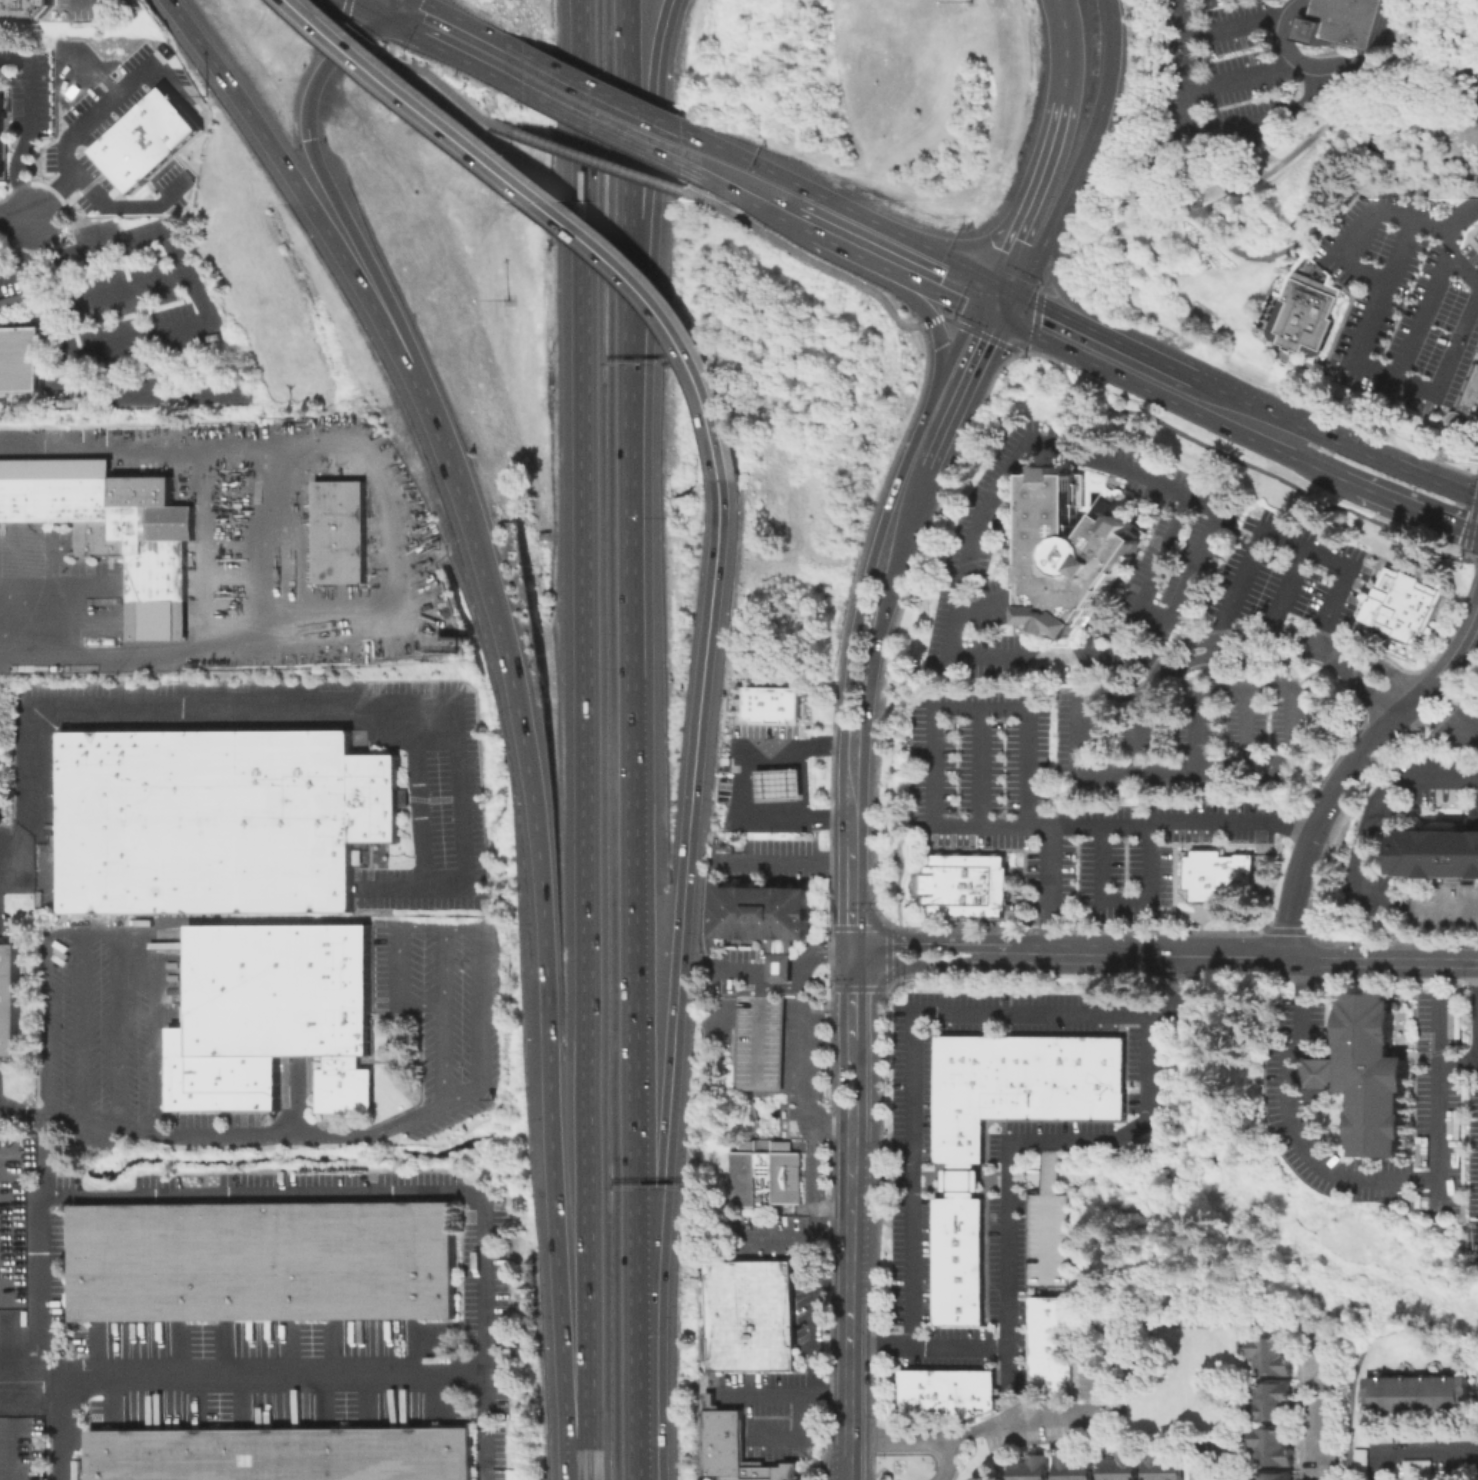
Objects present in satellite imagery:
road: (383, 1)
road: (385, 1)
traffic signals: (384, 3)
road: (96, 4)
road: (363, 7)
building: (27, 9)
road: (1476, 9)
road: (343, 11)
building: (1354, 22)
road: (365, 23)
road: (1240, 24)
road: (341, 33)
road: (444, 33)
road: (1066, 49)
road: (357, 50)
road: (1464, 56)
road: (128, 66)
road: (1245, 75)
road: (435, 81)
road: (1190, 86)
road: (1461, 93)
road: (1470, 95)
road: (590, 104)
road: (1305, 104)
road: (1323, 108)
road: (1470, 116)
road: (1098, 123)
road: (31, 125)
building: (2, 135)
building: (149, 142)
road: (687, 149)
road: (1292, 153)
road: (588, 157)
road: (628, 181)
road: (652, 181)
road: (748, 181)
road: (102, 187)
road: (49, 197)
road: (306, 197)
road: (1032, 201)
road: (550, 210)
road: (807, 212)
road: (1333, 216)
road: (15, 217)
road: (348, 223)
road: (849, 233)
road: (1358, 241)
road: (803, 256)
road: (24, 268)
road: (1464, 272)
road: (1027, 273)
road: (939, 275)
road: (904, 286)
road: (1436, 287)
road: (123, 292)
road: (1386, 293)
road: (200, 297)
building: (12, 299)
parking lot: (1403, 300)
road: (1073, 301)
traffic signals: (998, 302)
building: (1306, 312)
road: (990, 319)
road: (1058, 328)
road: (969, 329)
building: (21, 362)
road: (942, 362)
road: (1451, 363)
road: (967, 370)
road: (1152, 372)
building: (1472, 381)
road: (80, 382)
road: (1230, 410)
building: (1466, 410)
road: (936, 436)
road: (448, 455)
road: (1377, 456)
road: (1304, 459)
road: (1239, 460)
road: (997, 486)
road: (1477, 495)
road: (1405, 502)
road: (906, 508)
road: (629, 523)
road: (1470, 528)
road: (1474, 528)
building: (113, 530)
building: (340, 533)
road: (276, 539)
road: (1291, 540)
road: (396, 549)
road: (209, 551)
building: (1070, 554)
parking lot: (1177, 557)
road: (1196, 562)
road: (1377, 572)
parking lot: (1285, 576)
road: (1369, 589)
road: (1289, 593)
road: (51, 599)
building: (1399, 606)
road: (982, 610)
road: (1238, 638)
road: (1334, 647)
road: (850, 657)
road: (872, 662)
road: (1221, 664)
road: (1384, 671)
road: (1365, 689)
road: (1229, 691)
building: (772, 703)
road: (1457, 706)
road: (320, 709)
road: (1250, 723)
road: (1390, 726)
road: (1441, 728)
parking lot: (1192, 730)
building: (2, 737)
road: (584, 740)
road: (1083, 745)
road: (984, 766)
road: (745, 784)
building: (777, 784)
gas station: (777, 784)
road: (418, 799)
road: (849, 810)
parking lot: (1060, 815)
building: (223, 818)
road: (961, 824)
road: (1366, 850)
building: (1441, 850)
road: (1321, 856)
road: (19, 863)
road: (710, 869)
building: (1214, 873)
road: (43, 883)
building: (967, 887)
road: (1051, 890)
road: (46, 895)
road: (1291, 897)
road: (849, 899)
road: (1128, 899)
road: (680, 904)
building: (763, 920)
road: (426, 927)
road: (62, 939)
road: (137, 941)
road: (918, 943)
road: (821, 953)
traffic signals: (850, 953)
road: (1135, 958)
road: (1382, 961)
road: (442, 966)
road: (917, 966)
road: (763, 971)
road: (779, 971)
road: (795, 971)
road: (1164, 976)
road: (759, 983)
road: (785, 987)
road: (545, 988)
road: (849, 1000)
building: (10, 1002)
road: (631, 1005)
building: (275, 1010)
road: (719, 1017)
road: (757, 1018)
road: (915, 1023)
road: (758, 1040)
building: (756, 1042)
parking lot: (756, 1042)
road: (1314, 1050)
building: (998, 1053)
building: (1080, 1058)
building: (968, 1064)
road: (1459, 1066)
building: (1018, 1075)
road: (1324, 1075)
building: (1372, 1076)
road: (805, 1077)
road: (842, 1086)
road: (856, 1086)
parking lot: (1436, 1096)
road: (1307, 1097)
road: (298, 1099)
building: (1105, 1101)
building: (1057, 1103)
building: (956, 1105)
parking lot: (1472, 1132)
road: (46, 1135)
road: (250, 1136)
road: (1017, 1145)
building: (956, 1151)
road: (20, 1153)
road: (820, 1168)
building: (763, 1173)
road: (1359, 1178)
road: (897, 1179)
building: (960, 1180)
road: (960, 1180)
road: (991, 1180)
road: (459, 1191)
building: (1047, 1210)
building: (957, 1213)
road: (1050, 1228)
road: (808, 1241)
building: (957, 1242)
building: (956, 1260)
building: (269, 1261)
building: (956, 1281)
road: (849, 1302)
building: (956, 1302)
building: (1048, 1310)
building: (749, 1315)
building: (956, 1318)
road: (816, 1319)
building: (1049, 1340)
road: (928, 1347)
road: (336, 1349)
road: (423, 1350)
road: (224, 1351)
road: (98, 1352)
road: (179, 1352)
building: (1273, 1359)
building: (1048, 1374)
road: (20, 1378)
building: (1416, 1391)
building: (967, 1392)
road: (787, 1394)
building: (910, 1394)
building: (934, 1394)
road: (443, 1399)
road: (369, 1400)
road: (198, 1401)
road: (323, 1401)
road: (116, 1402)
road: (242, 1402)
building: (1273, 1402)
road: (641, 1403)
road: (1324, 1418)
road: (486, 1427)
road: (1011, 1428)
road: (11, 1429)
road: (68, 1429)
road: (792, 1436)
building: (733, 1448)
building: (1272, 1449)
road: (1411, 1449)
building: (286, 1454)
road: (950, 1463)
building: (1415, 1466)
building: (1165, 1468)
building: (1032, 1469)
building: (1074, 1469)
building: (1122, 1469)
building: (1225, 1478)
building: (1276, 1478)

